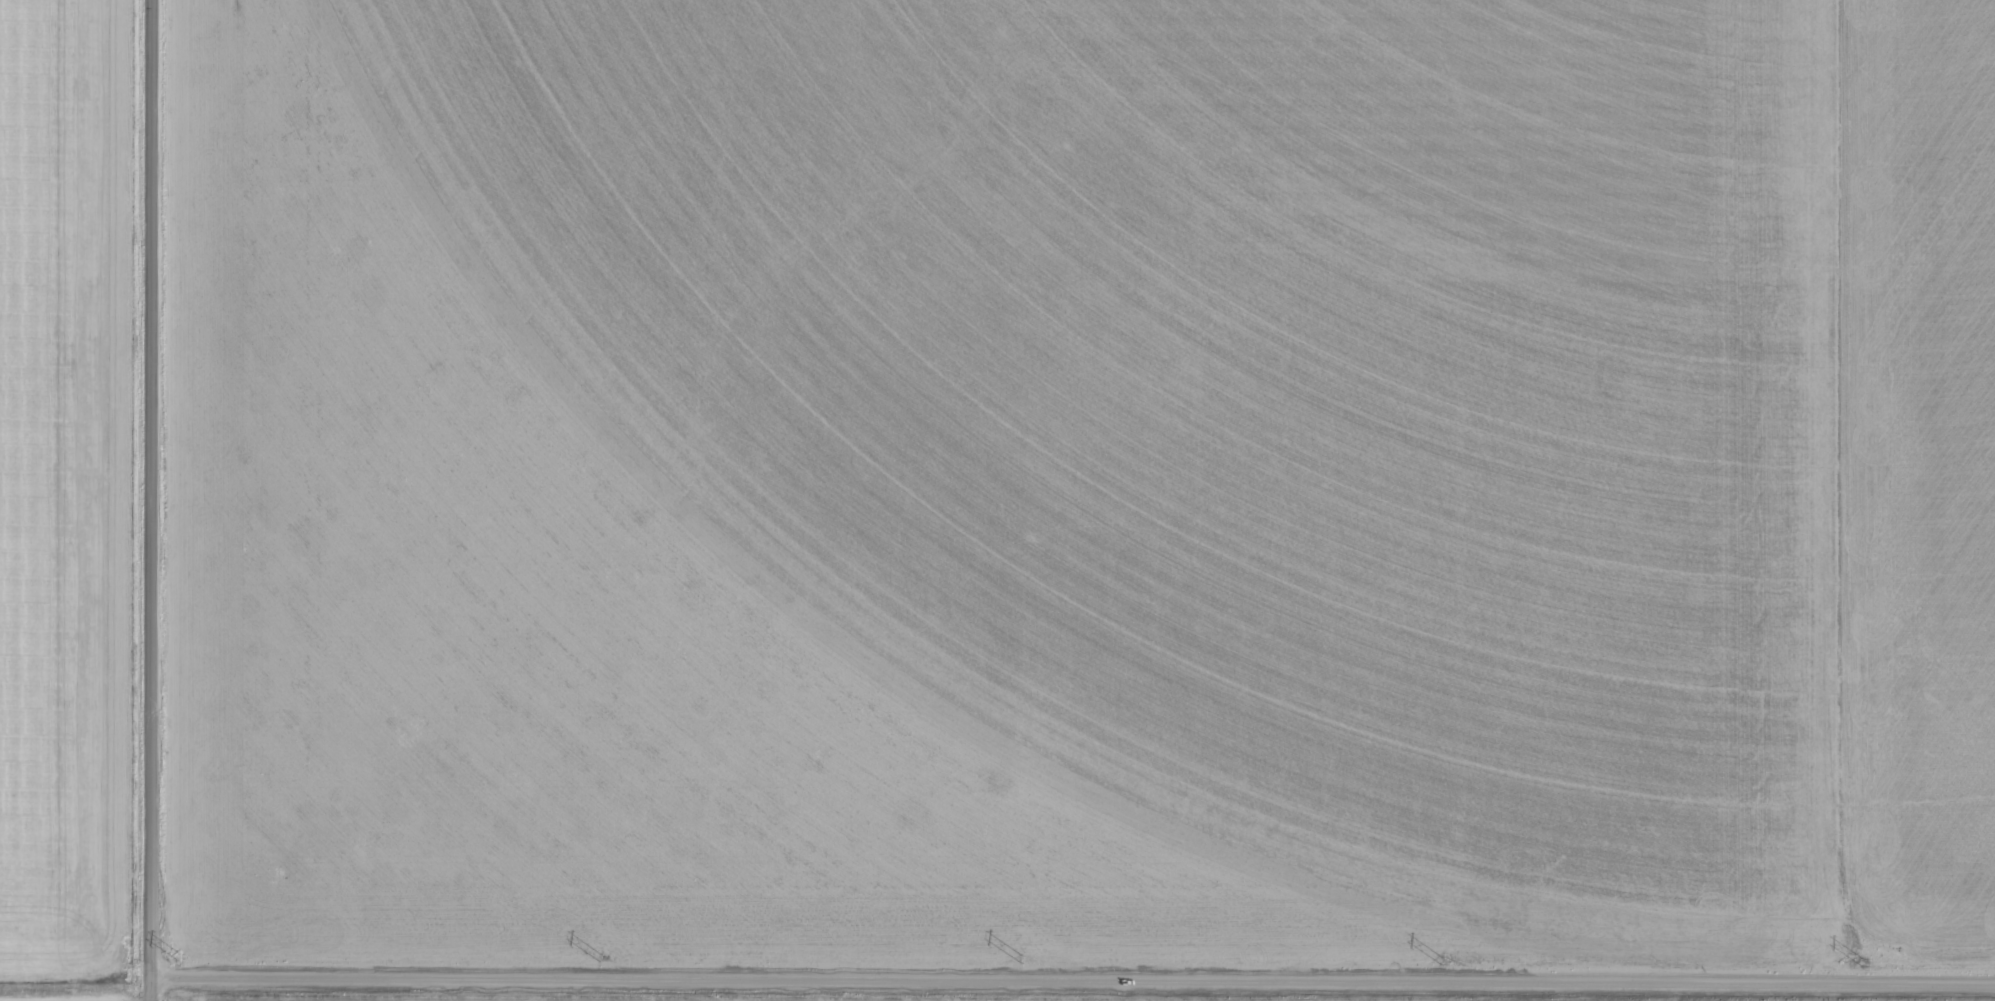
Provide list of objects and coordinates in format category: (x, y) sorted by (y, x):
road: (152, 500)
power tower: (178, 958)
power tower: (599, 958)
power tower: (1019, 960)
power tower: (1440, 962)
power tower: (1861, 965)
road: (75, 978)
road: (1073, 979)

